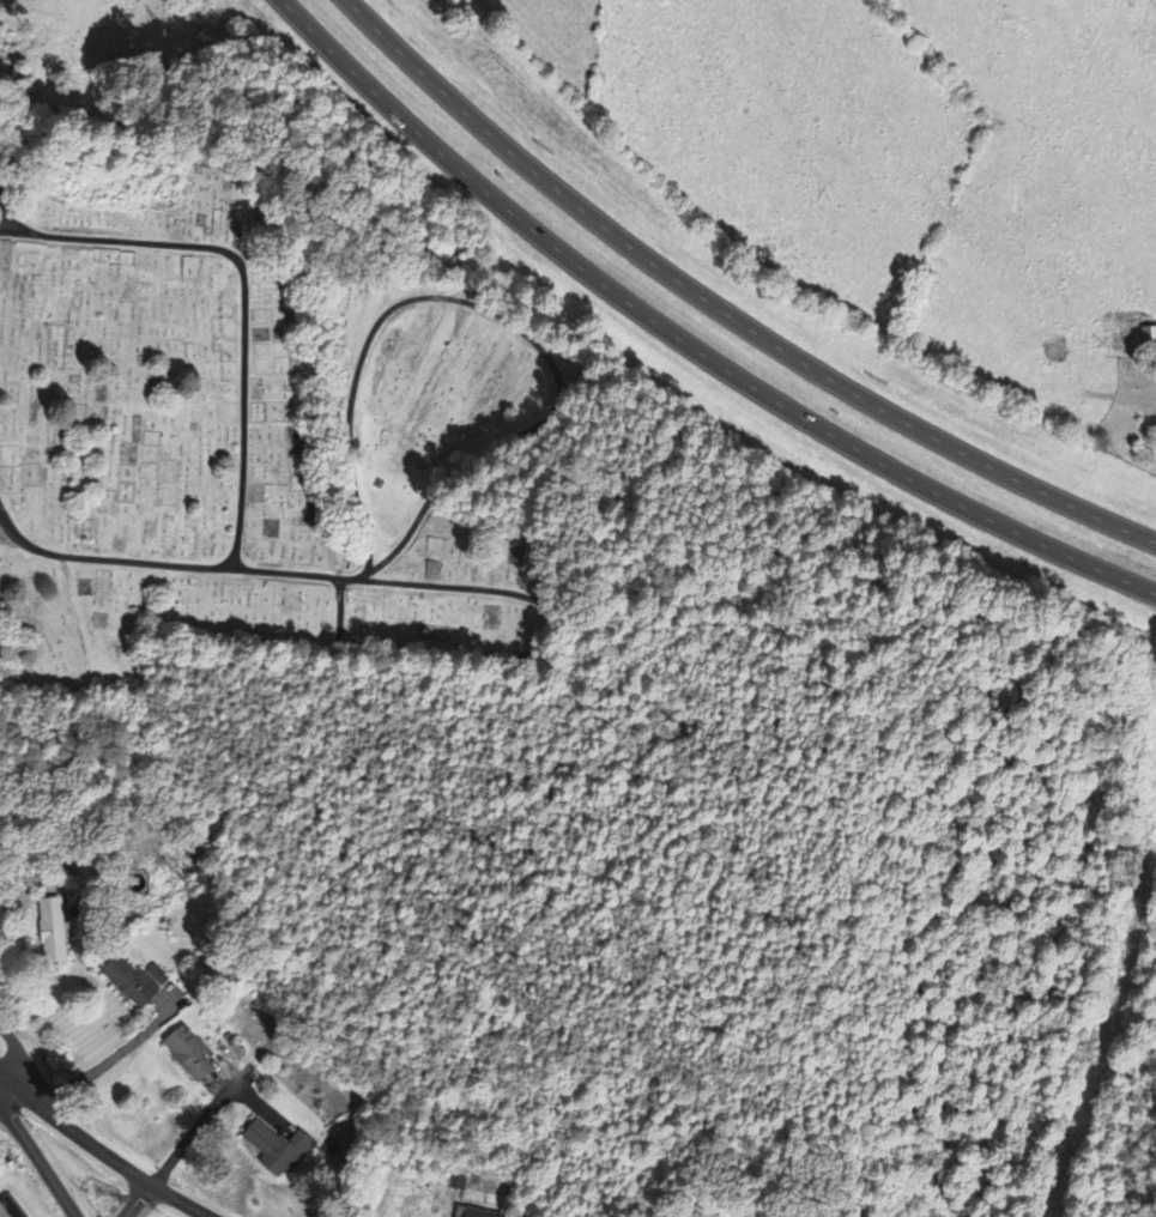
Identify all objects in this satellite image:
road: (22, 231)
road: (725, 310)
road: (688, 340)
building: (1150, 341)
road: (243, 405)
park: (266, 436)
road: (393, 585)
building: (134, 983)
road: (13, 1053)
building: (193, 1056)
road: (74, 1128)
road: (31, 1149)
building: (278, 1149)
road: (182, 1199)
road: (134, 1200)
building: (471, 1213)

